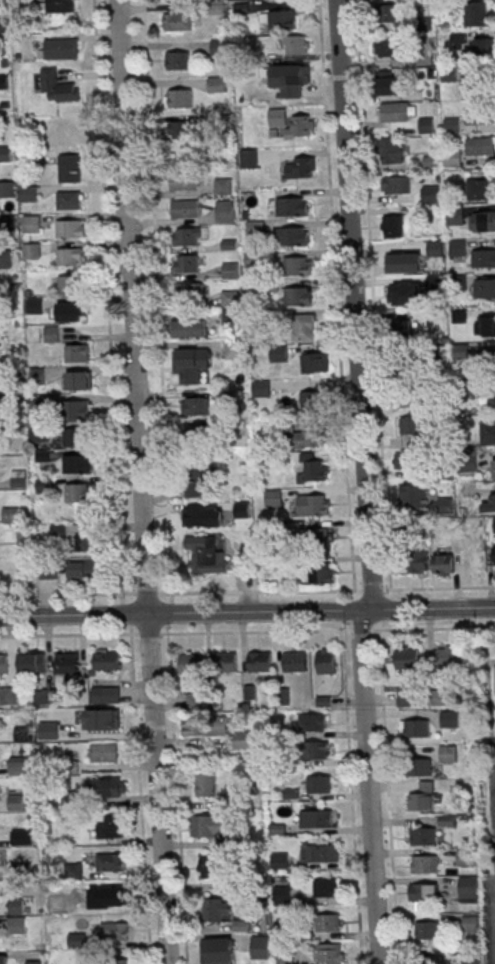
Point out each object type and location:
building: (2, 0)
building: (58, 7)
building: (389, 13)
building: (477, 13)
building: (3, 20)
building: (279, 20)
building: (178, 21)
building: (294, 45)
building: (219, 47)
building: (390, 47)
building: (61, 48)
building: (479, 51)
building: (425, 57)
building: (178, 60)
building: (297, 73)
building: (217, 84)
building: (474, 84)
building: (387, 85)
building: (58, 86)
building: (179, 98)
building: (394, 111)
building: (478, 114)
building: (278, 117)
building: (452, 124)
building: (427, 125)
building: (303, 126)
building: (183, 129)
building: (480, 145)
building: (392, 150)
building: (6, 154)
building: (28, 156)
building: (249, 159)
building: (302, 167)
building: (70, 168)
building: (182, 181)
building: (396, 184)
building: (224, 187)
building: (6, 189)
building: (481, 189)
building: (29, 194)
building: (69, 201)
building: (185, 210)
building: (225, 212)
building: (456, 215)
building: (481, 221)
building: (8, 223)
building: (32, 224)
building: (394, 224)
building: (69, 229)
building: (293, 236)
building: (188, 237)
building: (457, 247)
building: (435, 248)
building: (32, 251)
building: (68, 257)
building: (5, 258)
building: (483, 258)
building: (403, 261)
building: (187, 264)
building: (298, 265)
building: (231, 270)
building: (436, 280)
building: (71, 285)
building: (485, 287)
building: (189, 291)
building: (407, 293)
road: (336, 294)
road: (372, 294)
building: (298, 296)
road: (355, 304)
building: (35, 306)
building: (69, 313)
road: (109, 317)
building: (230, 318)
building: (305, 325)
building: (486, 326)
building: (190, 329)
building: (407, 331)
building: (234, 349)
building: (78, 354)
building: (191, 357)
building: (313, 362)
building: (79, 382)
building: (489, 393)
building: (408, 396)
building: (312, 400)
building: (38, 404)
building: (195, 405)
building: (76, 410)
building: (409, 427)
building: (40, 431)
building: (488, 432)
building: (205, 434)
building: (310, 436)
building: (77, 438)
building: (408, 461)
building: (77, 465)
building: (494, 468)
building: (314, 470)
building: (199, 477)
road: (141, 482)
road: (166, 482)
building: (18, 483)
building: (44, 485)
building: (79, 494)
building: (414, 495)
building: (274, 498)
building: (314, 504)
building: (489, 505)
building: (11, 515)
building: (24, 535)
building: (316, 538)
building: (85, 542)
building: (206, 554)
building: (418, 563)
building: (444, 564)
building: (84, 569)
building: (323, 572)
road: (439, 587)
road: (373, 588)
road: (260, 590)
road: (147, 592)
road: (67, 593)
road: (247, 612)
road: (433, 627)
road: (360, 629)
road: (254, 631)
road: (149, 633)
road: (69, 634)
building: (451, 657)
building: (108, 660)
road: (492, 660)
building: (260, 661)
building: (295, 661)
building: (326, 661)
building: (226, 662)
building: (407, 662)
building: (4, 663)
building: (32, 663)
building: (68, 663)
building: (191, 664)
building: (8, 695)
building: (106, 695)
building: (441, 697)
building: (409, 698)
building: (450, 719)
building: (79, 721)
building: (314, 722)
building: (195, 726)
building: (217, 726)
building: (415, 727)
building: (244, 739)
building: (318, 749)
building: (105, 752)
building: (448, 753)
building: (21, 765)
building: (422, 766)
building: (319, 783)
building: (206, 785)
building: (111, 787)
road: (369, 787)
building: (424, 795)
building: (73, 796)
road: (389, 796)
road: (352, 797)
building: (16, 801)
building: (317, 818)
building: (212, 825)
building: (112, 826)
building: (424, 836)
building: (321, 853)
building: (466, 857)
building: (110, 861)
building: (424, 864)
building: (212, 866)
building: (74, 870)
building: (326, 887)
building: (468, 889)
building: (424, 891)
building: (114, 896)
parking lot: (493, 908)
building: (217, 909)
building: (328, 922)
building: (471, 923)
building: (18, 925)
building: (114, 931)
building: (428, 931)
building: (77, 939)
building: (261, 946)
building: (218, 950)
building: (330, 953)
building: (431, 960)
building: (121, 961)
building: (473, 961)

